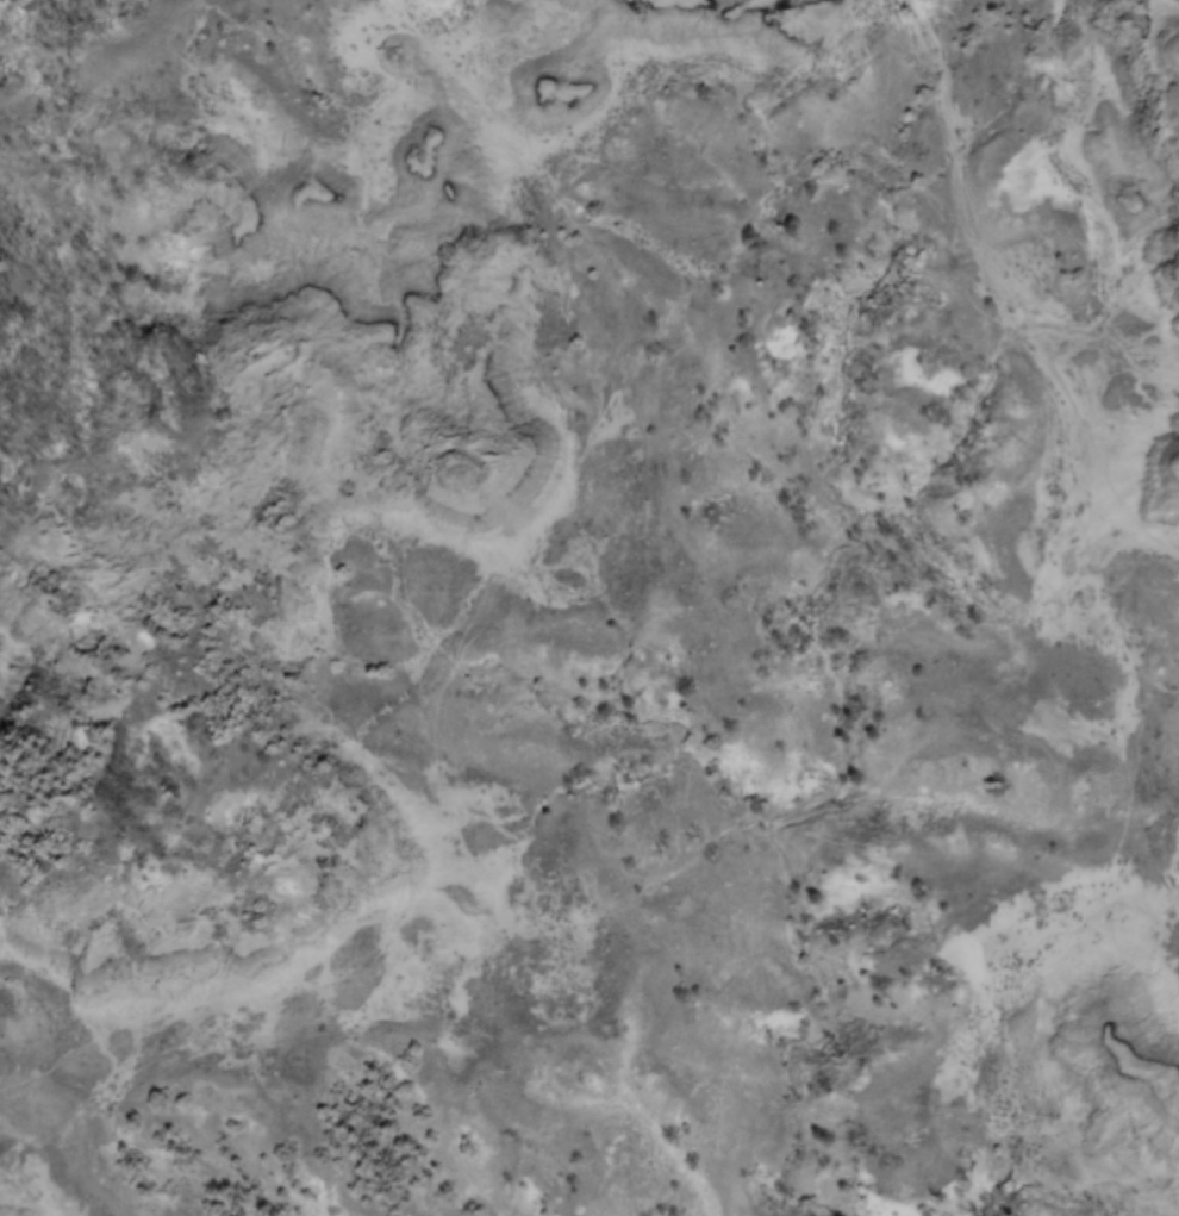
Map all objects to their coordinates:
road: (1034, 293)

